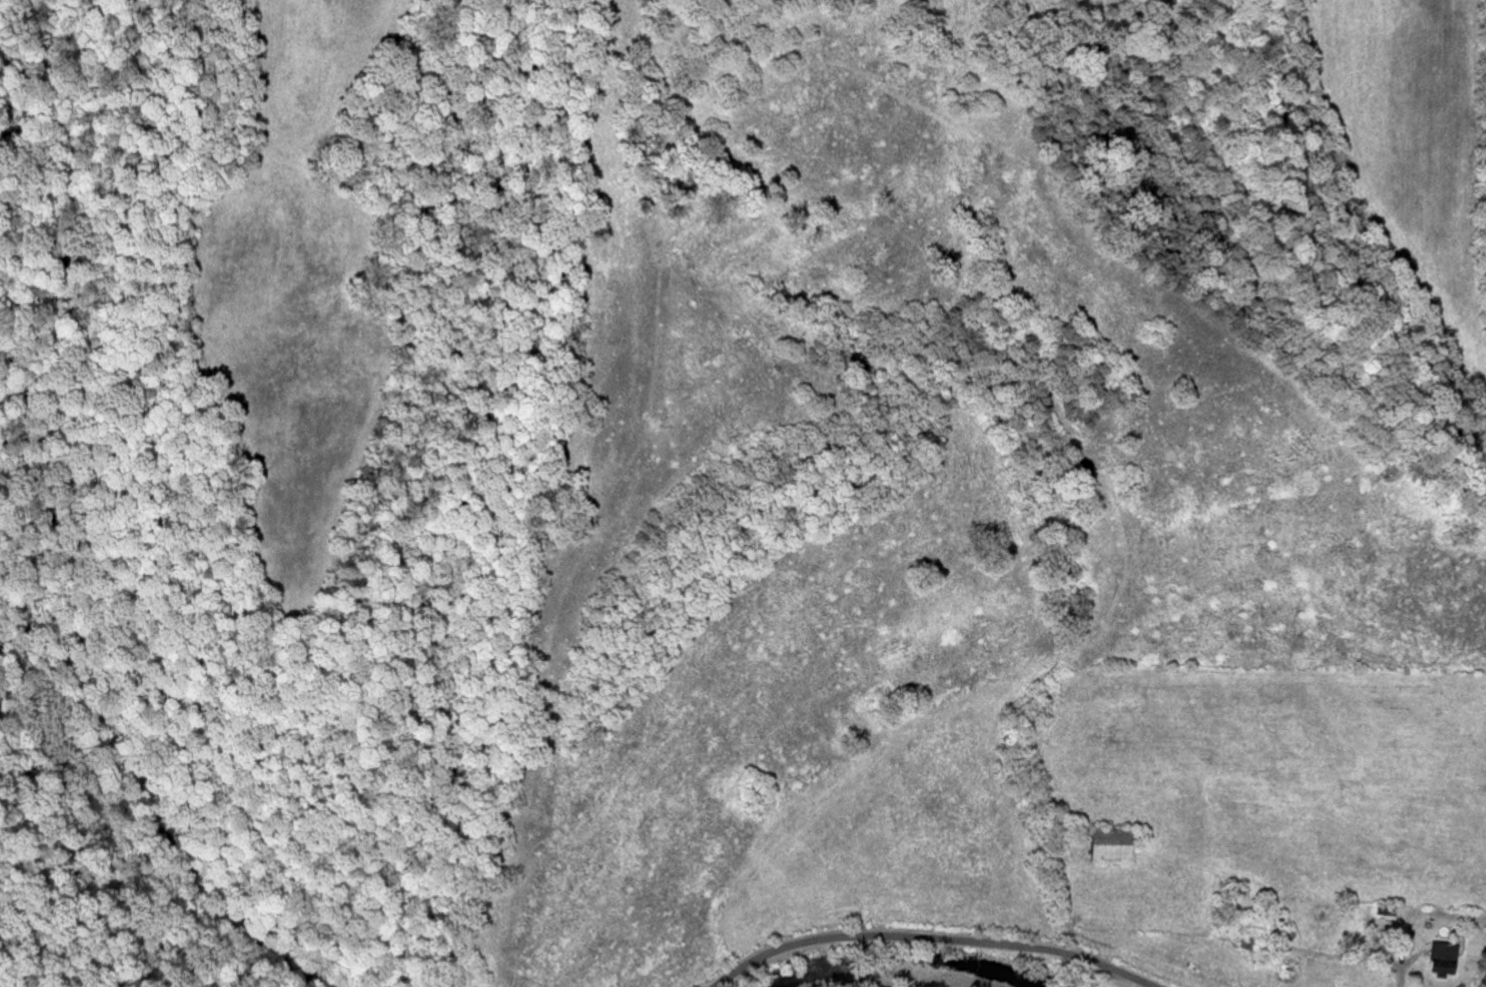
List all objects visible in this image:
building: (1121, 846)
road: (932, 939)
building: (1439, 957)
road: (1397, 971)
road: (1484, 984)

